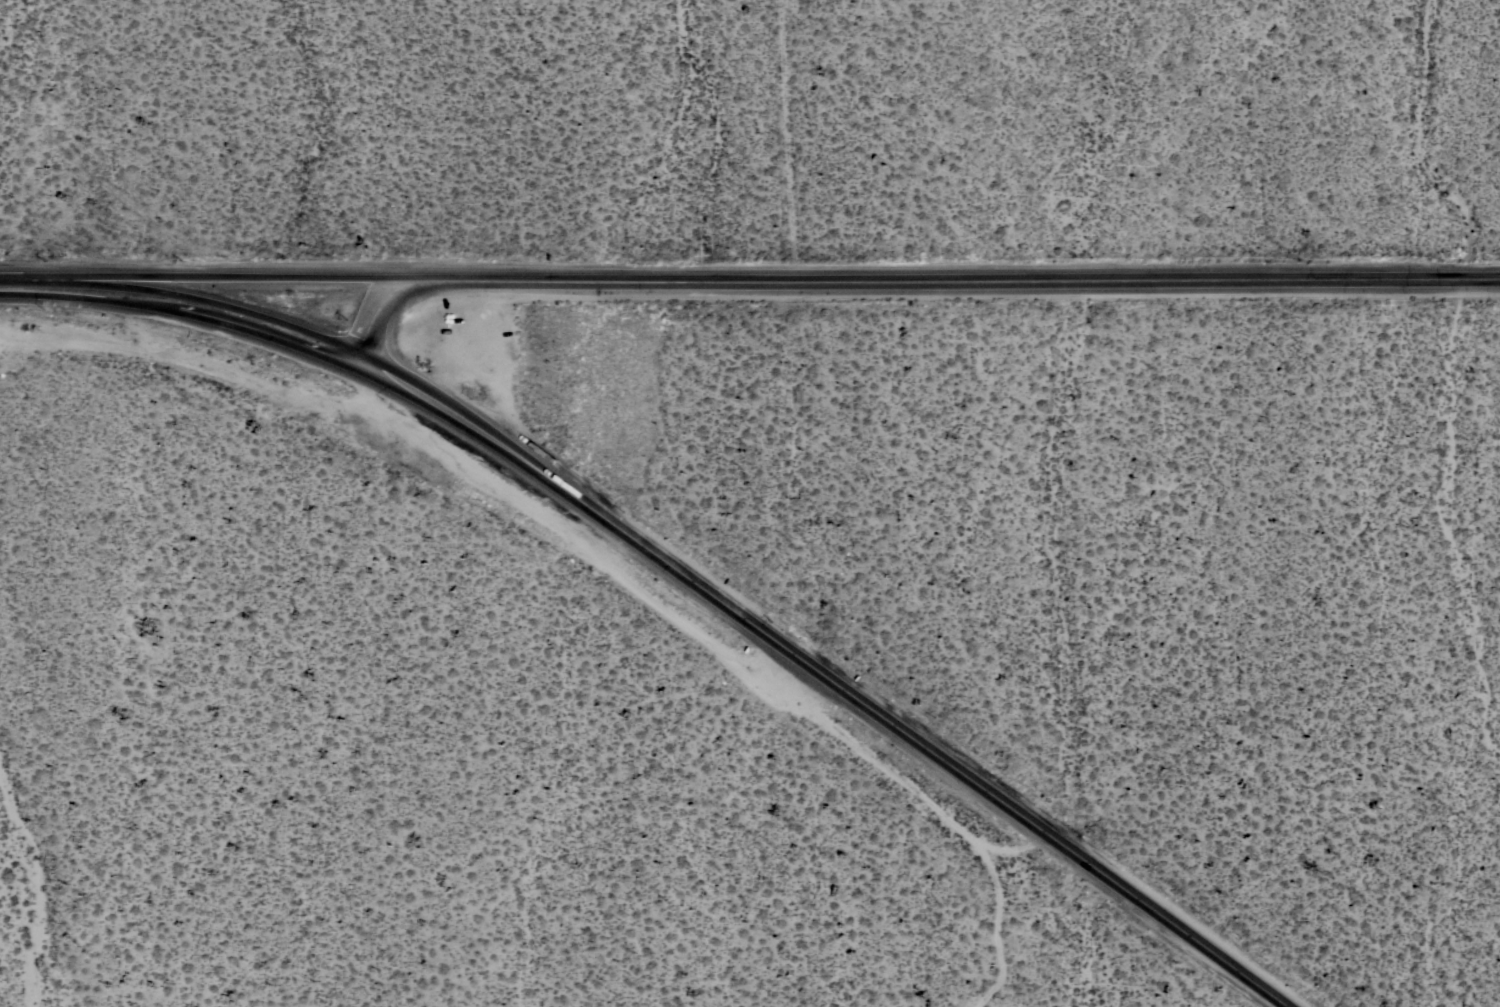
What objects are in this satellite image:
road: (951, 278)
road: (201, 279)
road: (180, 302)
road: (374, 317)
road: (823, 679)

